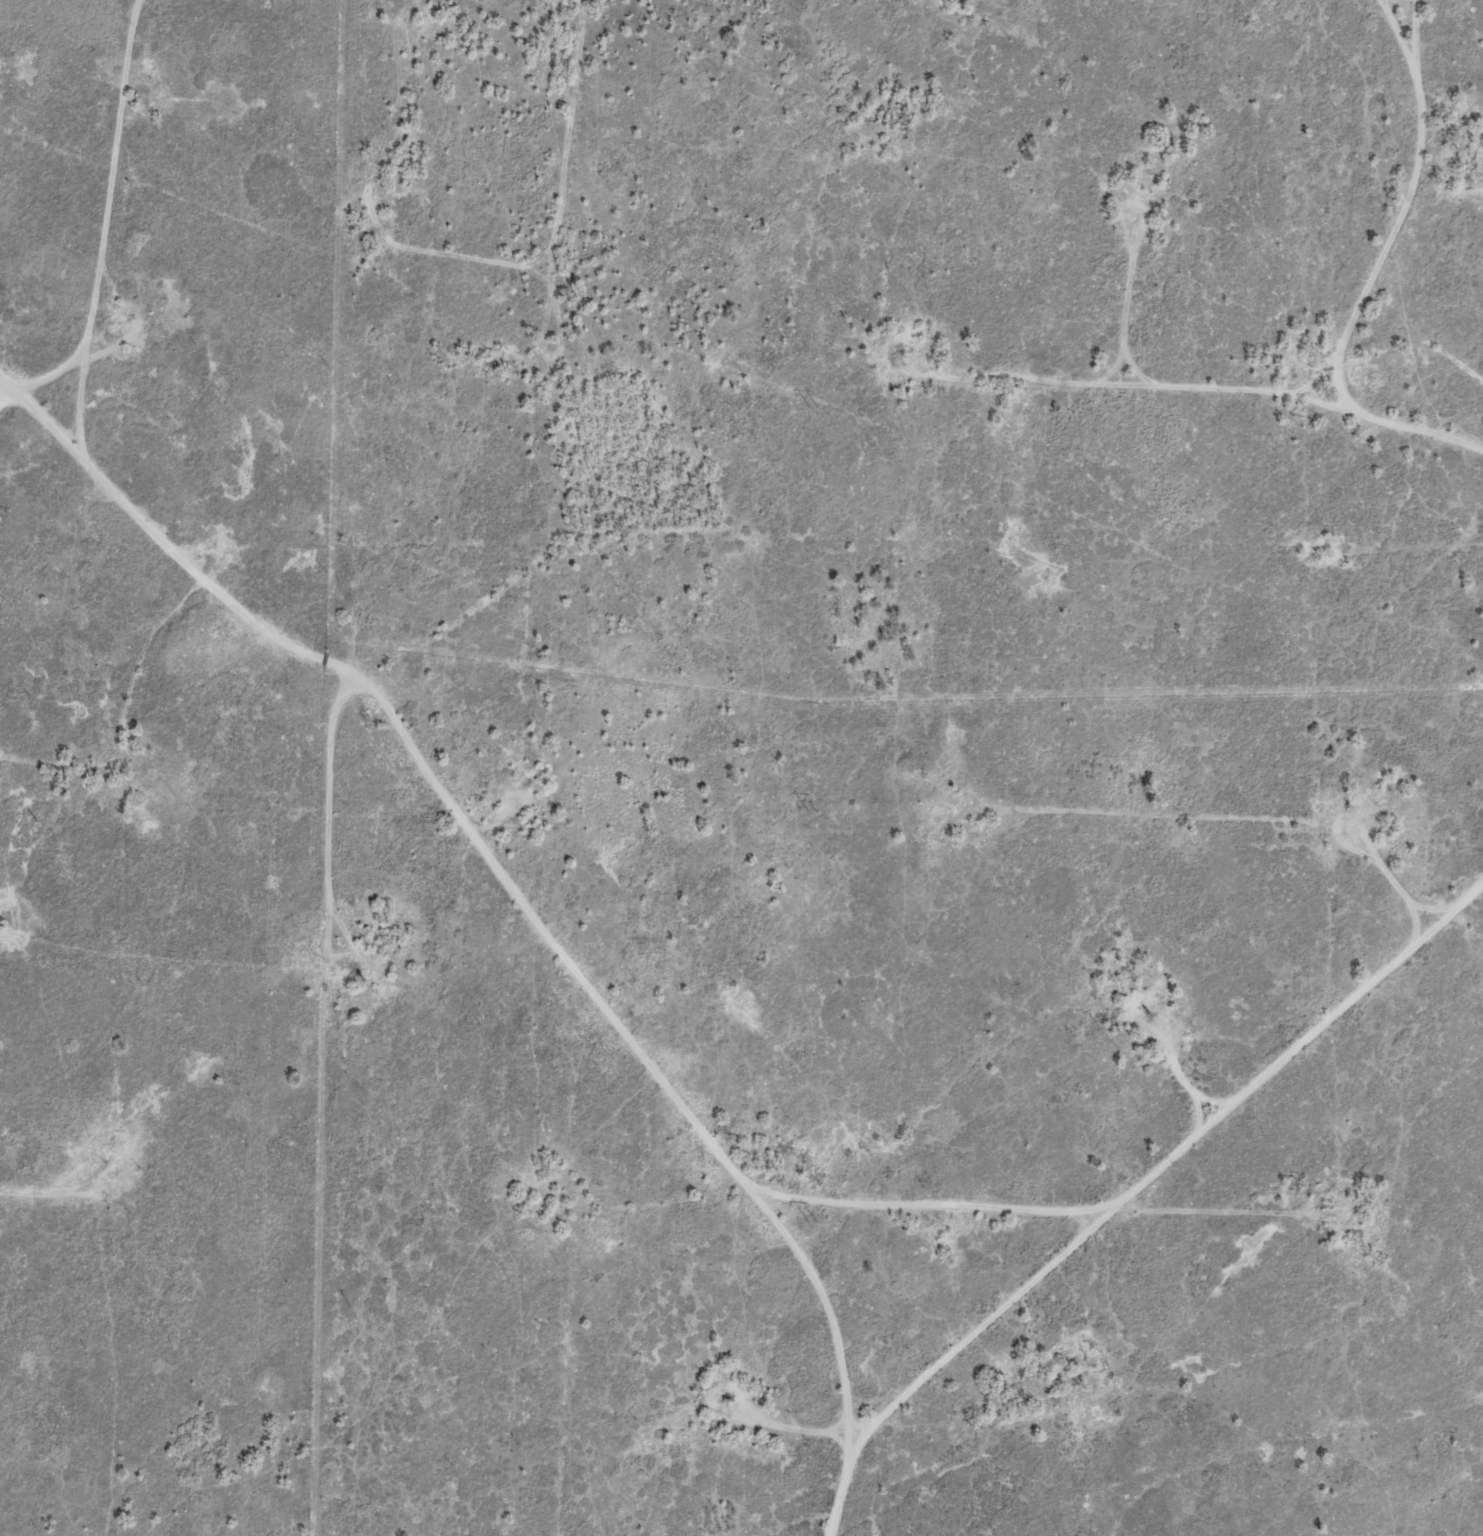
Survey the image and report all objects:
road: (282, 5)
road: (1402, 8)
road: (109, 321)
power tower: (816, 409)
road: (1235, 429)
road: (612, 464)
power tower: (812, 811)
road: (517, 826)
road: (985, 850)
road: (1375, 918)
road: (667, 1029)
road: (1227, 1208)
power tower: (812, 1226)
road: (50, 1234)

